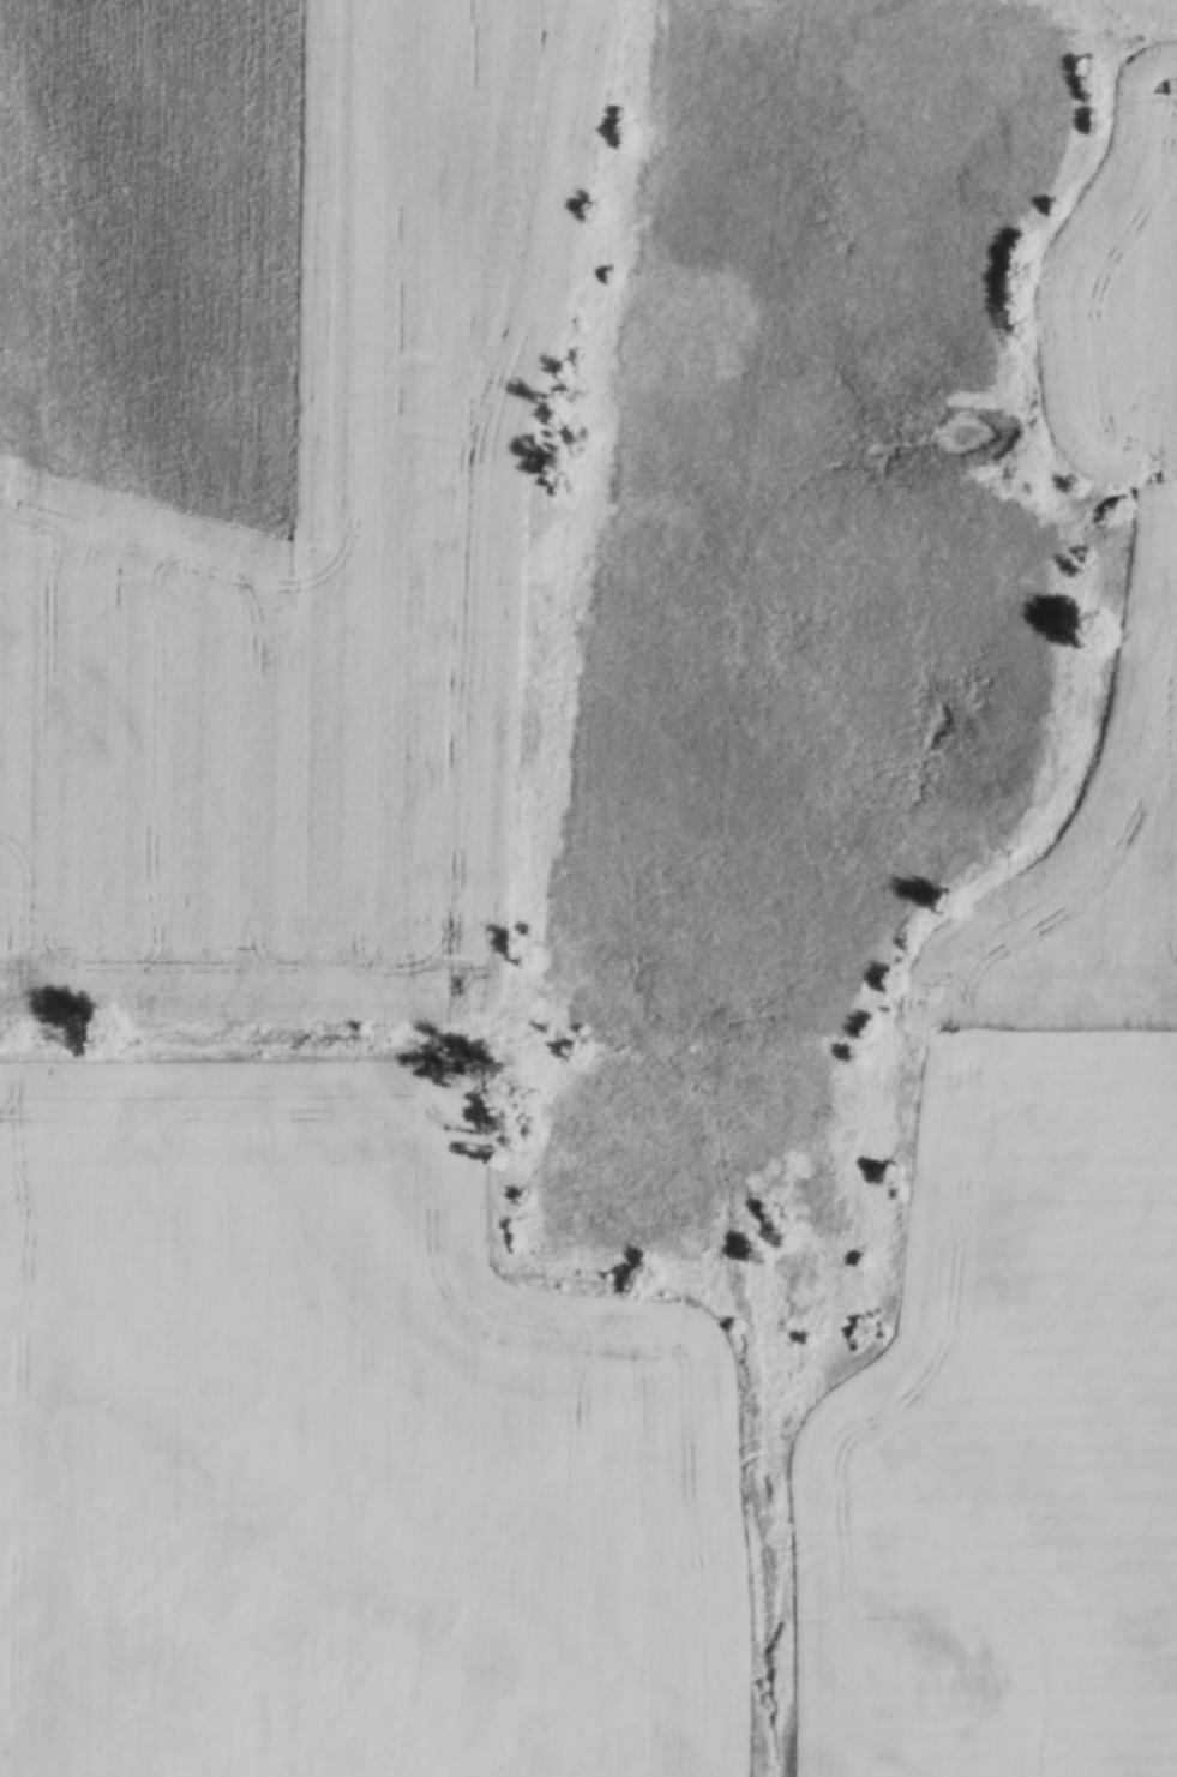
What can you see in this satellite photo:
river: (726, 521)

